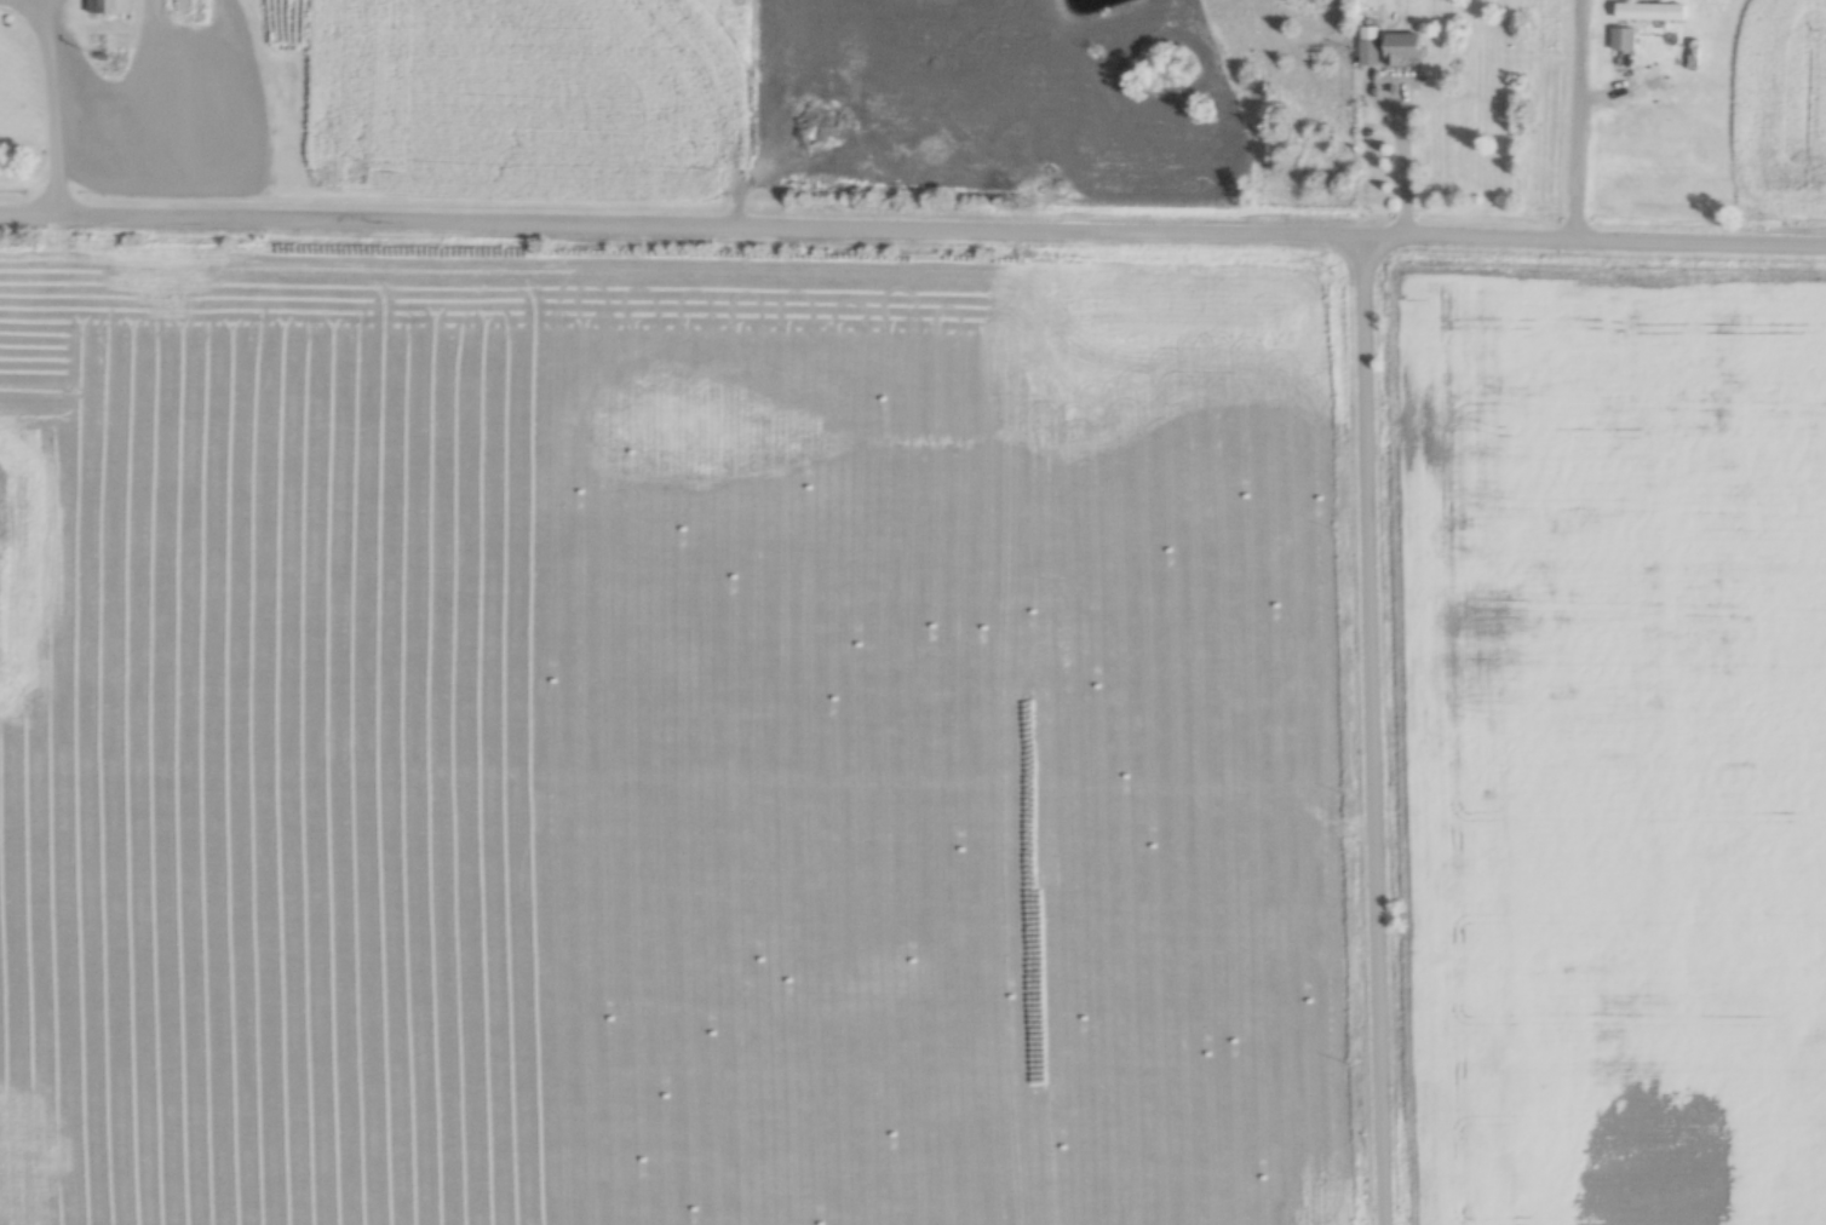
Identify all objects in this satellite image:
building: (113, 6)
building: (1653, 11)
building: (1625, 38)
building: (1369, 45)
building: (1406, 46)
road: (56, 99)
road: (1585, 136)
road: (1402, 148)
road: (913, 223)
road: (1374, 727)

